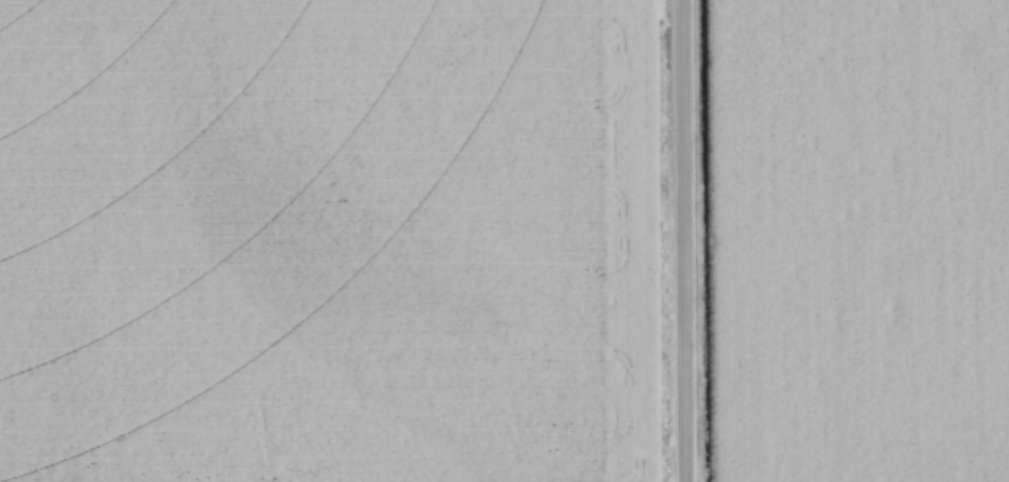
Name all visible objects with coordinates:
road: (681, 241)

